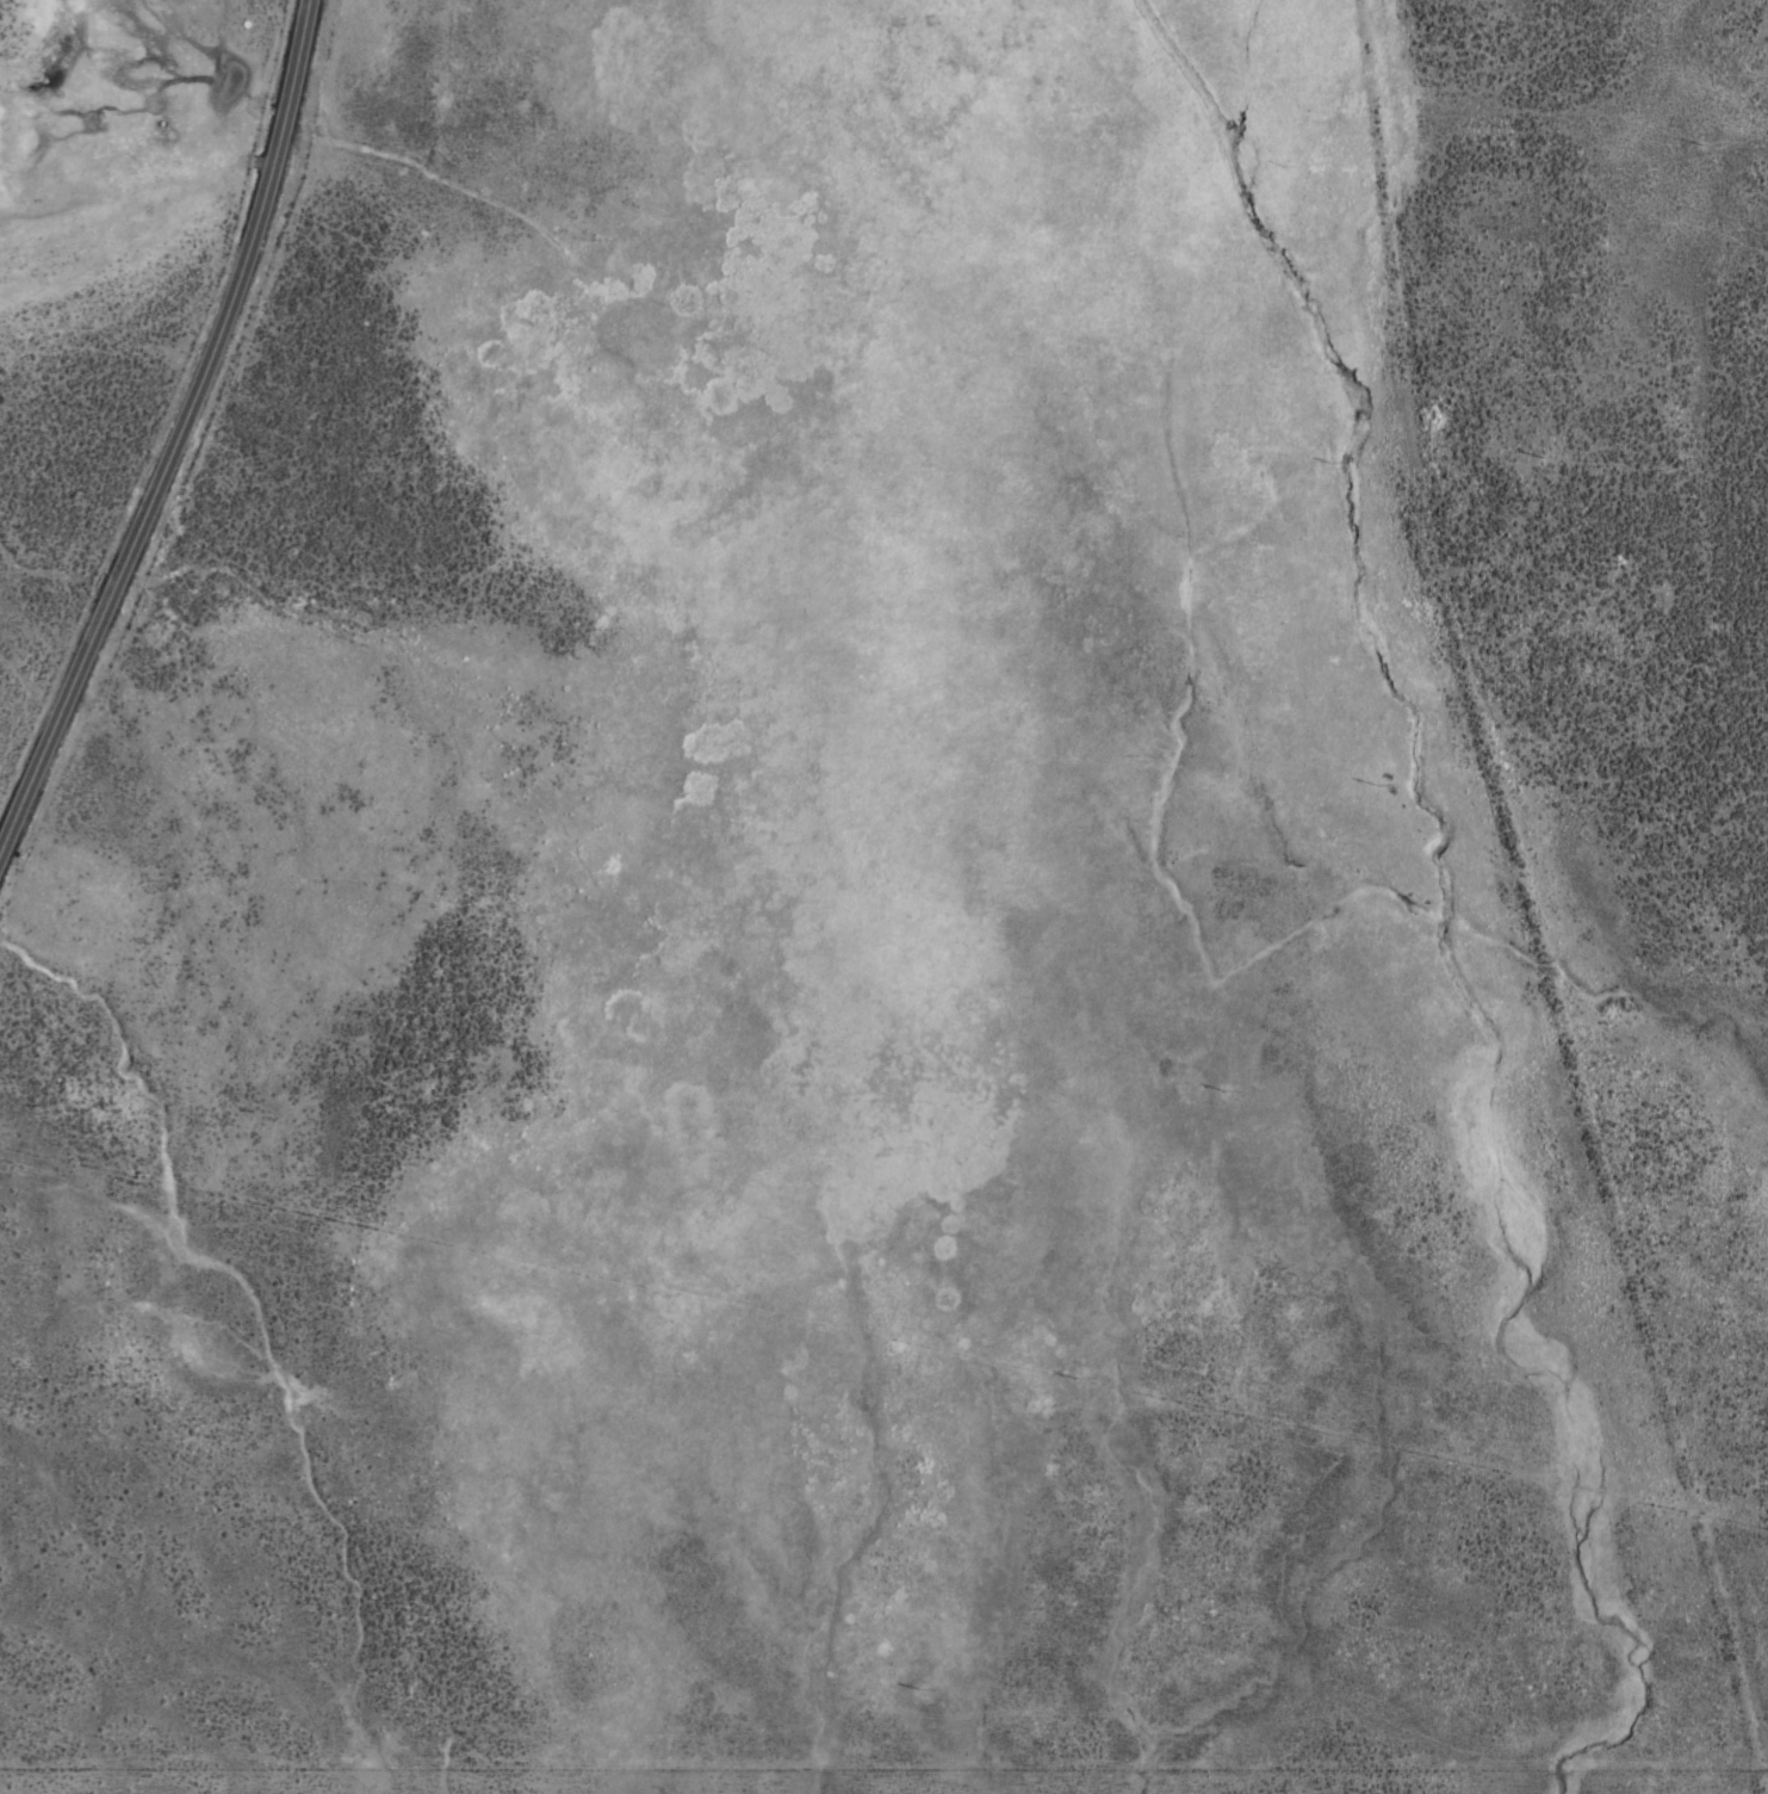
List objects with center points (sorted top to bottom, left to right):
road: (147, 390)
crop: (920, 914)

